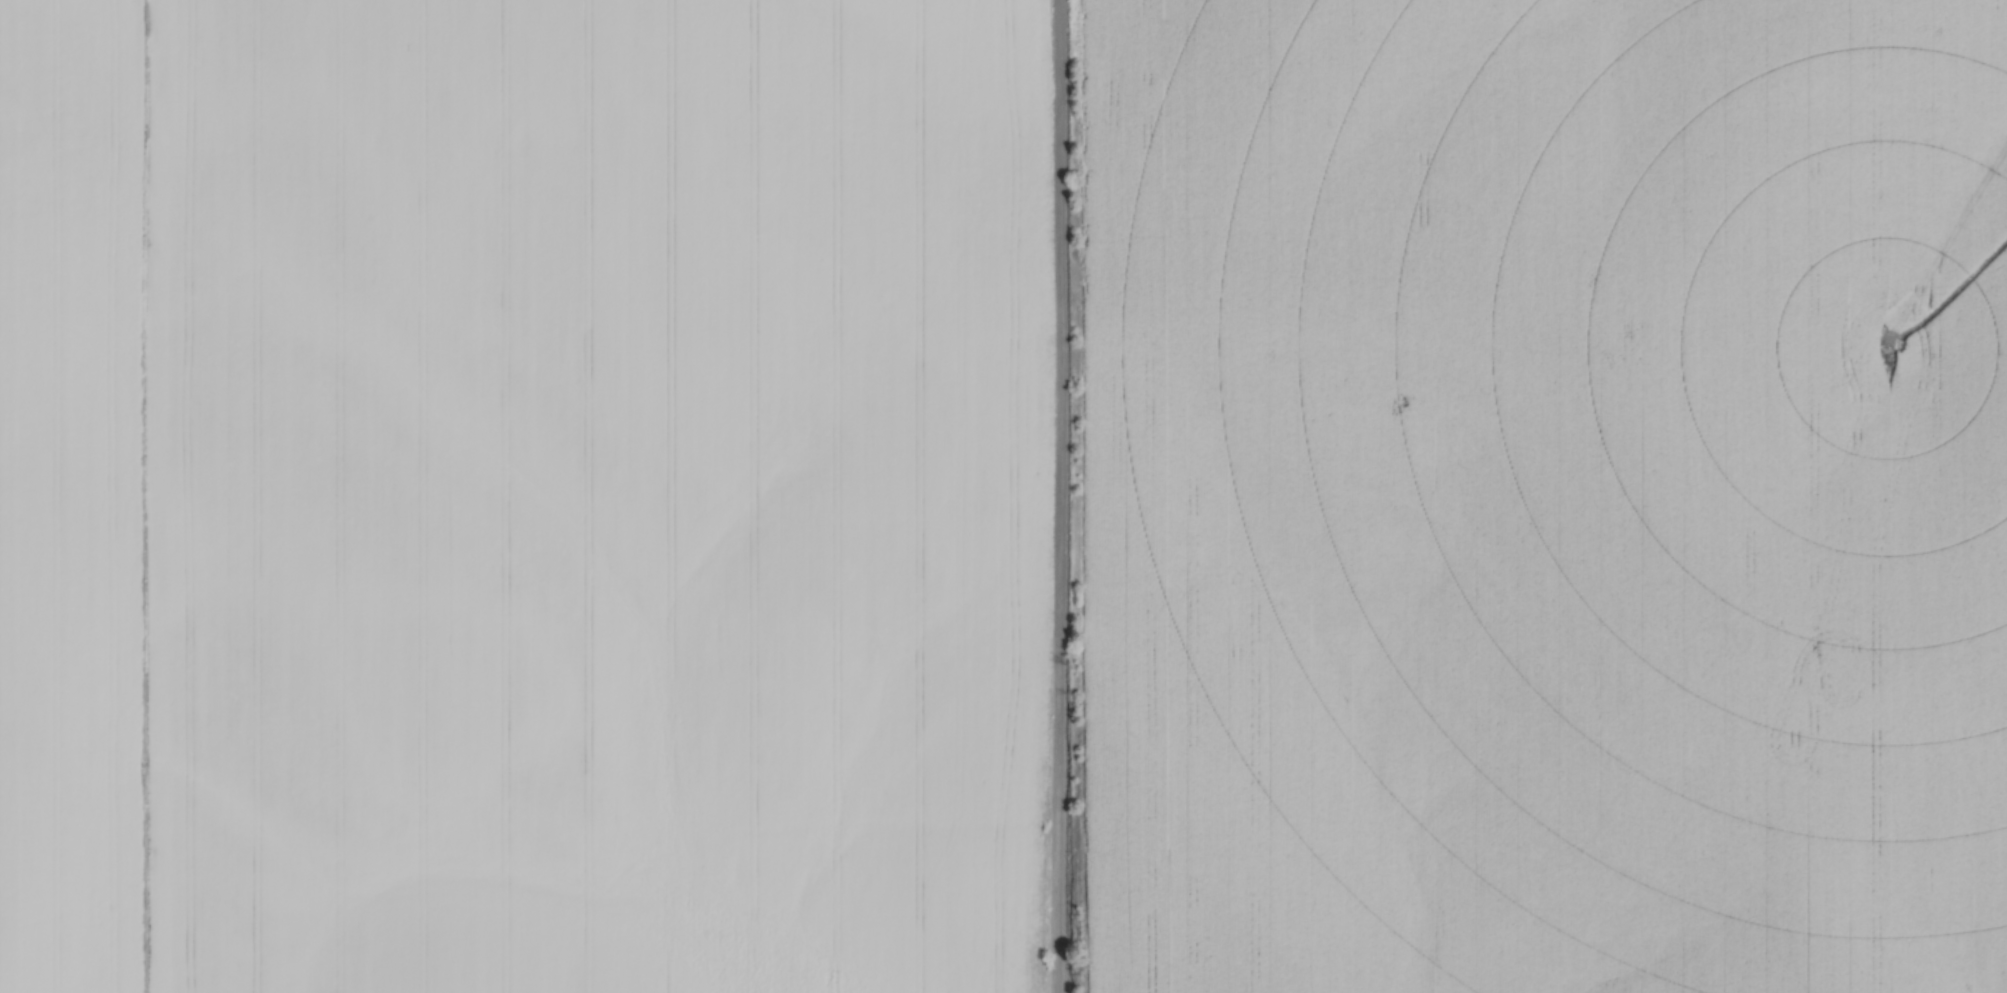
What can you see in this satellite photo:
road: (1059, 496)

